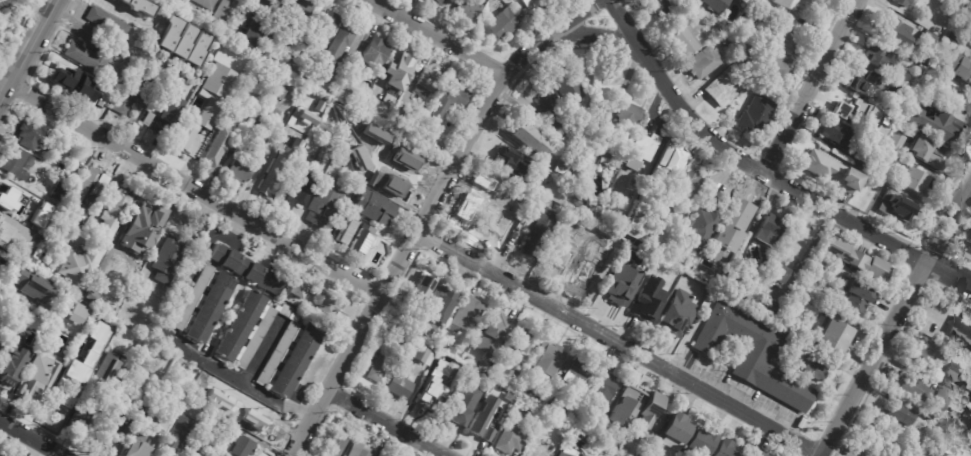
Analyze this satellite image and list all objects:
building: (677, 0)
building: (20, 1)
building: (763, 1)
building: (827, 1)
building: (437, 2)
building: (905, 3)
building: (205, 4)
building: (531, 4)
building: (715, 4)
building: (789, 4)
building: (129, 5)
building: (141, 5)
building: (270, 5)
building: (658, 6)
building: (968, 9)
building: (467, 11)
building: (185, 12)
building: (224, 12)
building: (299, 13)
building: (281, 16)
road: (129, 18)
building: (748, 23)
building: (108, 25)
building: (503, 25)
building: (324, 28)
building: (893, 29)
building: (720, 30)
building: (253, 34)
road: (597, 36)
road: (437, 37)
building: (953, 37)
building: (727, 38)
building: (184, 40)
building: (686, 40)
building: (297, 44)
road: (26, 46)
building: (157, 47)
building: (337, 49)
building: (778, 55)
building: (293, 56)
building: (375, 56)
building: (878, 57)
building: (88, 58)
building: (705, 63)
building: (914, 65)
building: (398, 72)
building: (967, 74)
building: (78, 80)
building: (428, 83)
building: (347, 85)
building: (862, 85)
building: (567, 86)
building: (726, 86)
road: (810, 86)
building: (894, 92)
building: (130, 94)
building: (279, 94)
building: (933, 96)
road: (488, 99)
building: (220, 100)
building: (449, 102)
building: (963, 102)
building: (168, 107)
building: (551, 107)
building: (379, 108)
building: (846, 110)
building: (338, 113)
building: (306, 116)
building: (756, 116)
building: (149, 119)
building: (628, 119)
building: (885, 119)
building: (397, 120)
building: (582, 123)
building: (936, 125)
building: (260, 132)
building: (404, 134)
building: (840, 135)
building: (32, 136)
building: (193, 138)
building: (528, 139)
building: (417, 141)
building: (896, 141)
building: (297, 145)
building: (644, 145)
building: (218, 146)
building: (346, 149)
building: (602, 152)
building: (396, 153)
building: (927, 154)
building: (574, 155)
building: (507, 157)
building: (671, 158)
road: (740, 159)
building: (889, 160)
building: (863, 161)
building: (18, 163)
building: (591, 167)
building: (240, 168)
road: (260, 168)
building: (562, 168)
building: (831, 172)
building: (382, 180)
building: (269, 182)
building: (917, 182)
building: (90, 183)
road: (191, 185)
building: (690, 186)
building: (298, 191)
building: (552, 192)
building: (8, 193)
building: (60, 193)
building: (632, 193)
building: (478, 197)
road: (105, 198)
building: (672, 199)
building: (714, 199)
building: (323, 207)
building: (373, 209)
building: (500, 210)
building: (593, 213)
building: (904, 213)
building: (620, 218)
building: (43, 219)
road: (948, 220)
building: (738, 222)
building: (143, 227)
building: (700, 228)
building: (770, 228)
building: (538, 231)
building: (13, 234)
building: (351, 239)
building: (94, 243)
building: (561, 244)
building: (970, 256)
building: (855, 258)
building: (168, 261)
building: (599, 265)
building: (117, 271)
building: (776, 271)
road: (948, 273)
building: (654, 274)
building: (424, 284)
building: (620, 284)
building: (29, 285)
road: (6, 286)
building: (738, 288)
building: (298, 289)
building: (220, 292)
building: (78, 293)
building: (649, 298)
building: (856, 298)
building: (801, 299)
building: (440, 303)
building: (672, 304)
building: (329, 306)
building: (773, 310)
building: (122, 313)
building: (76, 314)
building: (467, 315)
building: (2, 322)
building: (503, 328)
building: (962, 328)
building: (398, 331)
building: (832, 335)
building: (523, 339)
road: (169, 342)
road: (620, 342)
road: (354, 343)
building: (305, 345)
building: (453, 348)
road: (262, 350)
building: (423, 355)
building: (754, 357)
road: (872, 358)
building: (548, 360)
building: (944, 361)
building: (52, 365)
building: (179, 365)
building: (814, 365)
building: (379, 366)
building: (576, 371)
building: (8, 372)
building: (516, 375)
building: (78, 381)
building: (400, 386)
building: (604, 388)
building: (525, 390)
building: (431, 391)
building: (27, 393)
building: (927, 393)
building: (536, 394)
building: (105, 397)
building: (463, 404)
building: (560, 406)
building: (626, 406)
building: (59, 408)
building: (136, 410)
building: (598, 411)
building: (652, 413)
building: (901, 413)
building: (929, 415)
building: (555, 417)
building: (484, 419)
building: (250, 422)
building: (593, 423)
building: (213, 424)
road: (384, 424)
building: (153, 425)
building: (111, 429)
building: (675, 431)
building: (205, 435)
building: (176, 437)
road: (29, 438)
building: (755, 440)
building: (510, 441)
building: (699, 442)
building: (601, 444)
building: (334, 445)
road: (840, 446)
building: (245, 447)
building: (540, 448)
building: (724, 448)
building: (360, 450)
building: (584, 450)
building: (633, 450)
building: (758, 453)
building: (565, 454)
road: (854, 454)

